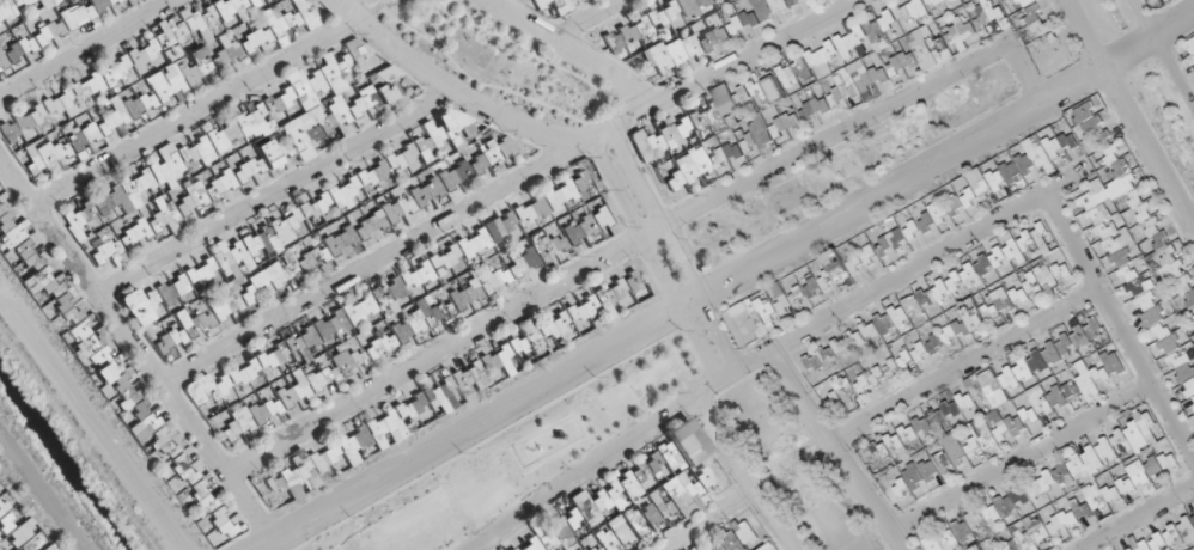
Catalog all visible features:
road: (593, 20)
building: (944, 26)
road: (574, 51)
road: (1161, 56)
road: (1017, 71)
road: (447, 87)
road: (199, 112)
road: (1126, 117)
road: (510, 185)
road: (281, 196)
road: (677, 247)
building: (888, 247)
road: (607, 259)
road: (656, 262)
road: (727, 282)
building: (940, 300)
road: (1117, 335)
building: (934, 347)
road: (770, 352)
road: (962, 366)
building: (1064, 381)
building: (997, 393)
building: (901, 447)
road: (836, 451)
building: (1113, 452)
road: (1018, 460)
road: (743, 475)
building: (1139, 477)
road: (1134, 517)
road: (712, 521)
building: (1174, 538)

